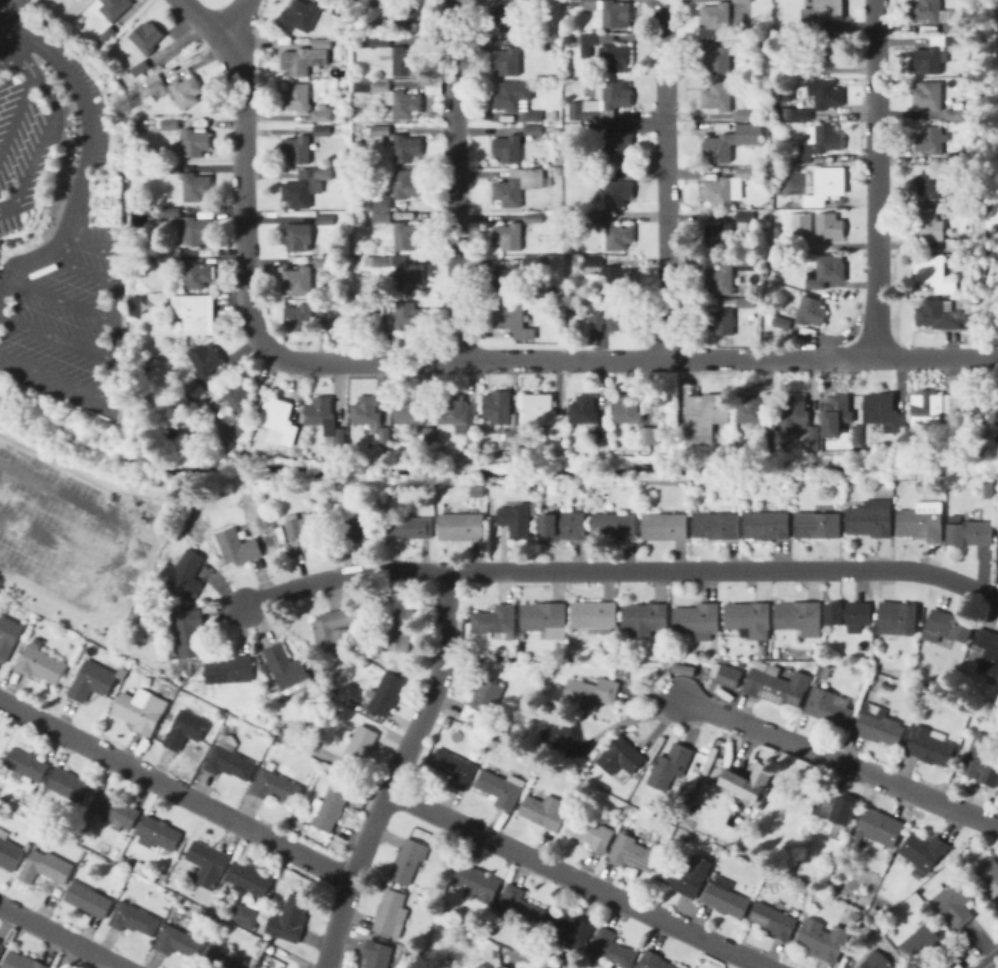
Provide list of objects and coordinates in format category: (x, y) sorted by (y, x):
building: (530, 1)
building: (742, 1)
park: (2, 6)
building: (114, 8)
road: (16, 10)
building: (338, 10)
building: (927, 10)
building: (612, 11)
building: (821, 14)
building: (403, 15)
building: (299, 16)
building: (717, 16)
road: (232, 17)
building: (371, 17)
road: (200, 18)
building: (506, 18)
building: (355, 21)
building: (955, 27)
building: (179, 29)
building: (550, 33)
building: (172, 34)
building: (107, 35)
road: (6, 37)
building: (146, 37)
building: (743, 41)
building: (532, 42)
building: (322, 43)
building: (956, 43)
road: (23, 45)
building: (166, 50)
building: (827, 51)
building: (608, 52)
building: (400, 55)
building: (304, 60)
building: (506, 60)
building: (718, 60)
building: (929, 60)
building: (140, 67)
building: (800, 67)
building: (120, 73)
building: (155, 86)
building: (431, 88)
road: (46, 89)
building: (186, 91)
building: (929, 95)
building: (718, 96)
building: (296, 97)
building: (396, 98)
building: (817, 99)
building: (515, 100)
building: (603, 104)
road: (17, 109)
building: (322, 113)
building: (955, 114)
building: (744, 115)
building: (934, 115)
road: (88, 116)
building: (169, 124)
building: (380, 129)
building: (533, 129)
building: (322, 131)
building: (928, 139)
building: (195, 142)
building: (733, 142)
building: (818, 142)
building: (617, 147)
building: (406, 148)
building: (508, 148)
building: (297, 150)
building: (955, 157)
road: (32, 158)
building: (943, 160)
building: (170, 169)
building: (744, 172)
building: (592, 173)
road: (873, 178)
road: (453, 179)
road: (665, 179)
building: (931, 183)
building: (520, 185)
building: (306, 186)
building: (824, 186)
building: (196, 187)
building: (397, 191)
building: (722, 191)
building: (618, 192)
building: (559, 195)
building: (107, 200)
building: (957, 202)
road: (7, 207)
building: (513, 216)
building: (593, 216)
building: (749, 216)
building: (534, 217)
building: (325, 221)
building: (800, 223)
building: (189, 226)
building: (829, 226)
building: (931, 226)
building: (400, 231)
building: (299, 235)
building: (719, 235)
building: (509, 236)
building: (618, 236)
road: (87, 244)
building: (168, 254)
road: (38, 260)
building: (324, 261)
building: (745, 262)
road: (83, 268)
building: (827, 271)
building: (934, 271)
building: (197, 274)
building: (515, 275)
building: (614, 275)
building: (411, 279)
building: (720, 279)
building: (298, 281)
road: (4, 291)
road: (63, 301)
building: (746, 302)
building: (133, 304)
building: (811, 311)
building: (195, 312)
building: (620, 315)
building: (937, 315)
building: (402, 316)
building: (299, 317)
building: (322, 317)
building: (512, 318)
building: (720, 320)
building: (597, 321)
building: (781, 321)
road: (117, 325)
road: (59, 339)
road: (469, 359)
building: (203, 361)
road: (57, 379)
building: (195, 390)
building: (237, 394)
building: (183, 403)
building: (498, 406)
building: (628, 409)
building: (367, 410)
building: (409, 410)
building: (453, 410)
building: (584, 410)
building: (543, 412)
building: (885, 412)
building: (936, 414)
building: (706, 416)
building: (799, 416)
building: (840, 418)
building: (757, 419)
building: (279, 420)
building: (326, 420)
building: (242, 428)
building: (603, 435)
building: (650, 435)
building: (428, 436)
building: (511, 438)
building: (471, 439)
building: (385, 440)
building: (299, 452)
building: (508, 452)
building: (988, 489)
building: (476, 491)
building: (535, 508)
building: (516, 519)
building: (871, 519)
building: (922, 522)
building: (563, 524)
building: (817, 524)
building: (354, 525)
building: (461, 525)
building: (716, 525)
building: (767, 525)
building: (614, 526)
building: (665, 526)
building: (411, 527)
building: (304, 529)
building: (970, 531)
road: (56, 543)
building: (238, 547)
road: (122, 549)
road: (620, 568)
building: (187, 575)
building: (849, 614)
building: (594, 615)
building: (747, 616)
building: (799, 617)
building: (545, 618)
building: (644, 618)
building: (897, 618)
building: (495, 619)
building: (697, 620)
building: (146, 623)
building: (946, 626)
building: (336, 629)
building: (188, 631)
building: (401, 633)
building: (8, 635)
building: (763, 649)
building: (987, 649)
building: (777, 652)
building: (39, 664)
building: (741, 664)
building: (807, 667)
building: (287, 668)
building: (684, 669)
building: (774, 669)
building: (230, 670)
building: (825, 671)
building: (730, 675)
building: (92, 680)
building: (885, 682)
building: (777, 685)
building: (591, 691)
building: (387, 693)
building: (484, 702)
building: (140, 709)
building: (900, 710)
building: (829, 711)
building: (878, 725)
building: (185, 729)
building: (509, 736)
building: (565, 740)
building: (360, 746)
building: (930, 746)
building: (621, 757)
building: (229, 759)
building: (980, 760)
road: (840, 762)
building: (27, 765)
building: (669, 765)
building: (454, 768)
road: (395, 769)
building: (748, 781)
building: (69, 785)
building: (276, 786)
building: (501, 788)
road: (174, 789)
building: (331, 809)
building: (838, 809)
building: (117, 811)
building: (544, 811)
building: (877, 829)
building: (590, 832)
building: (158, 833)
building: (923, 850)
building: (9, 852)
building: (635, 852)
building: (408, 860)
building: (208, 863)
building: (46, 867)
building: (685, 874)
building: (989, 875)
road: (577, 877)
building: (250, 879)
building: (477, 881)
building: (726, 898)
building: (90, 899)
building: (956, 900)
building: (520, 904)
building: (873, 912)
building: (391, 913)
building: (853, 913)
building: (247, 915)
building: (134, 918)
building: (290, 919)
building: (774, 920)
building: (570, 929)
road: (62, 936)
building: (824, 939)
building: (179, 942)
building: (923, 942)
building: (2, 946)
building: (610, 949)
building: (377, 954)
building: (222, 959)
building: (875, 960)
road: (988, 960)
building: (21, 961)
building: (654, 961)
building: (482, 966)

